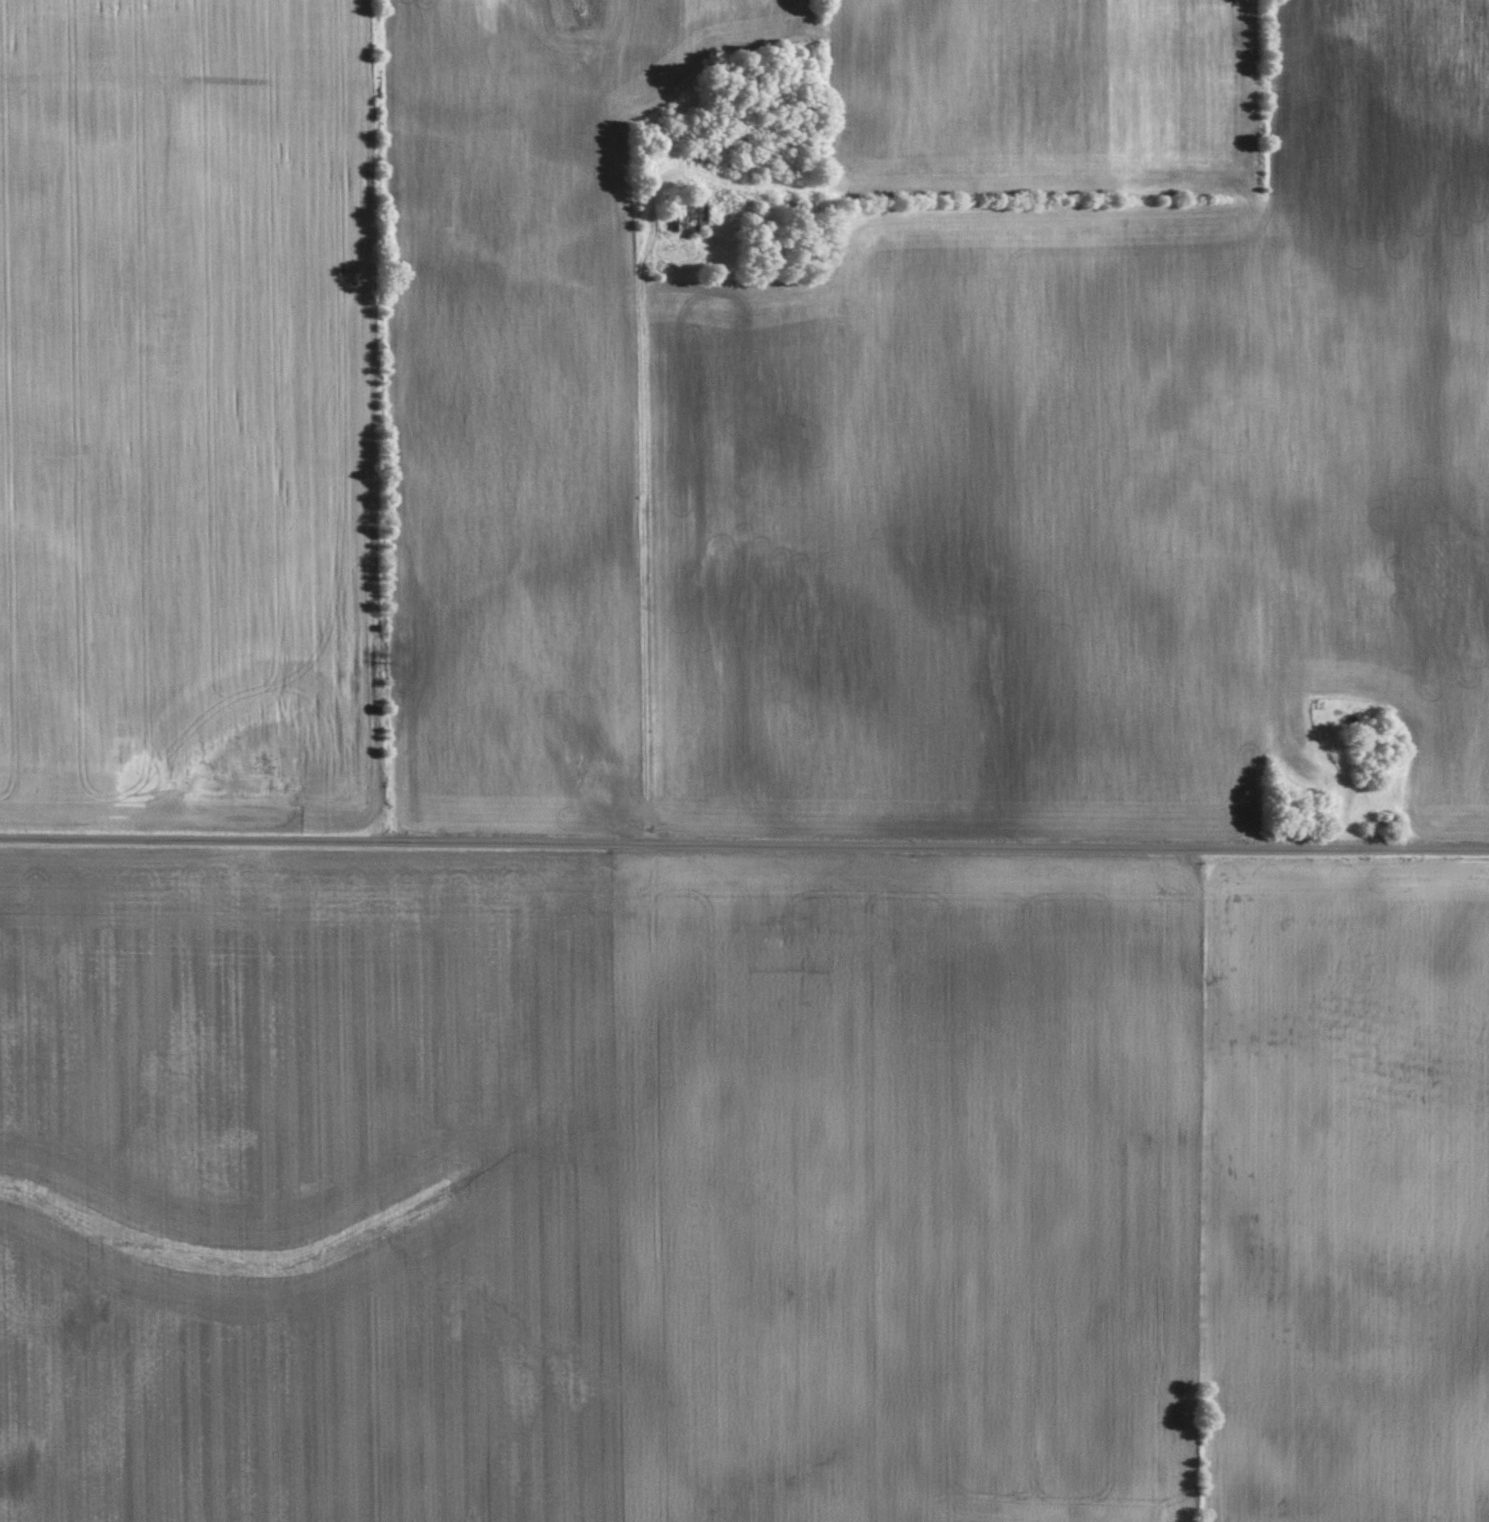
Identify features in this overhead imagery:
road: (744, 846)

